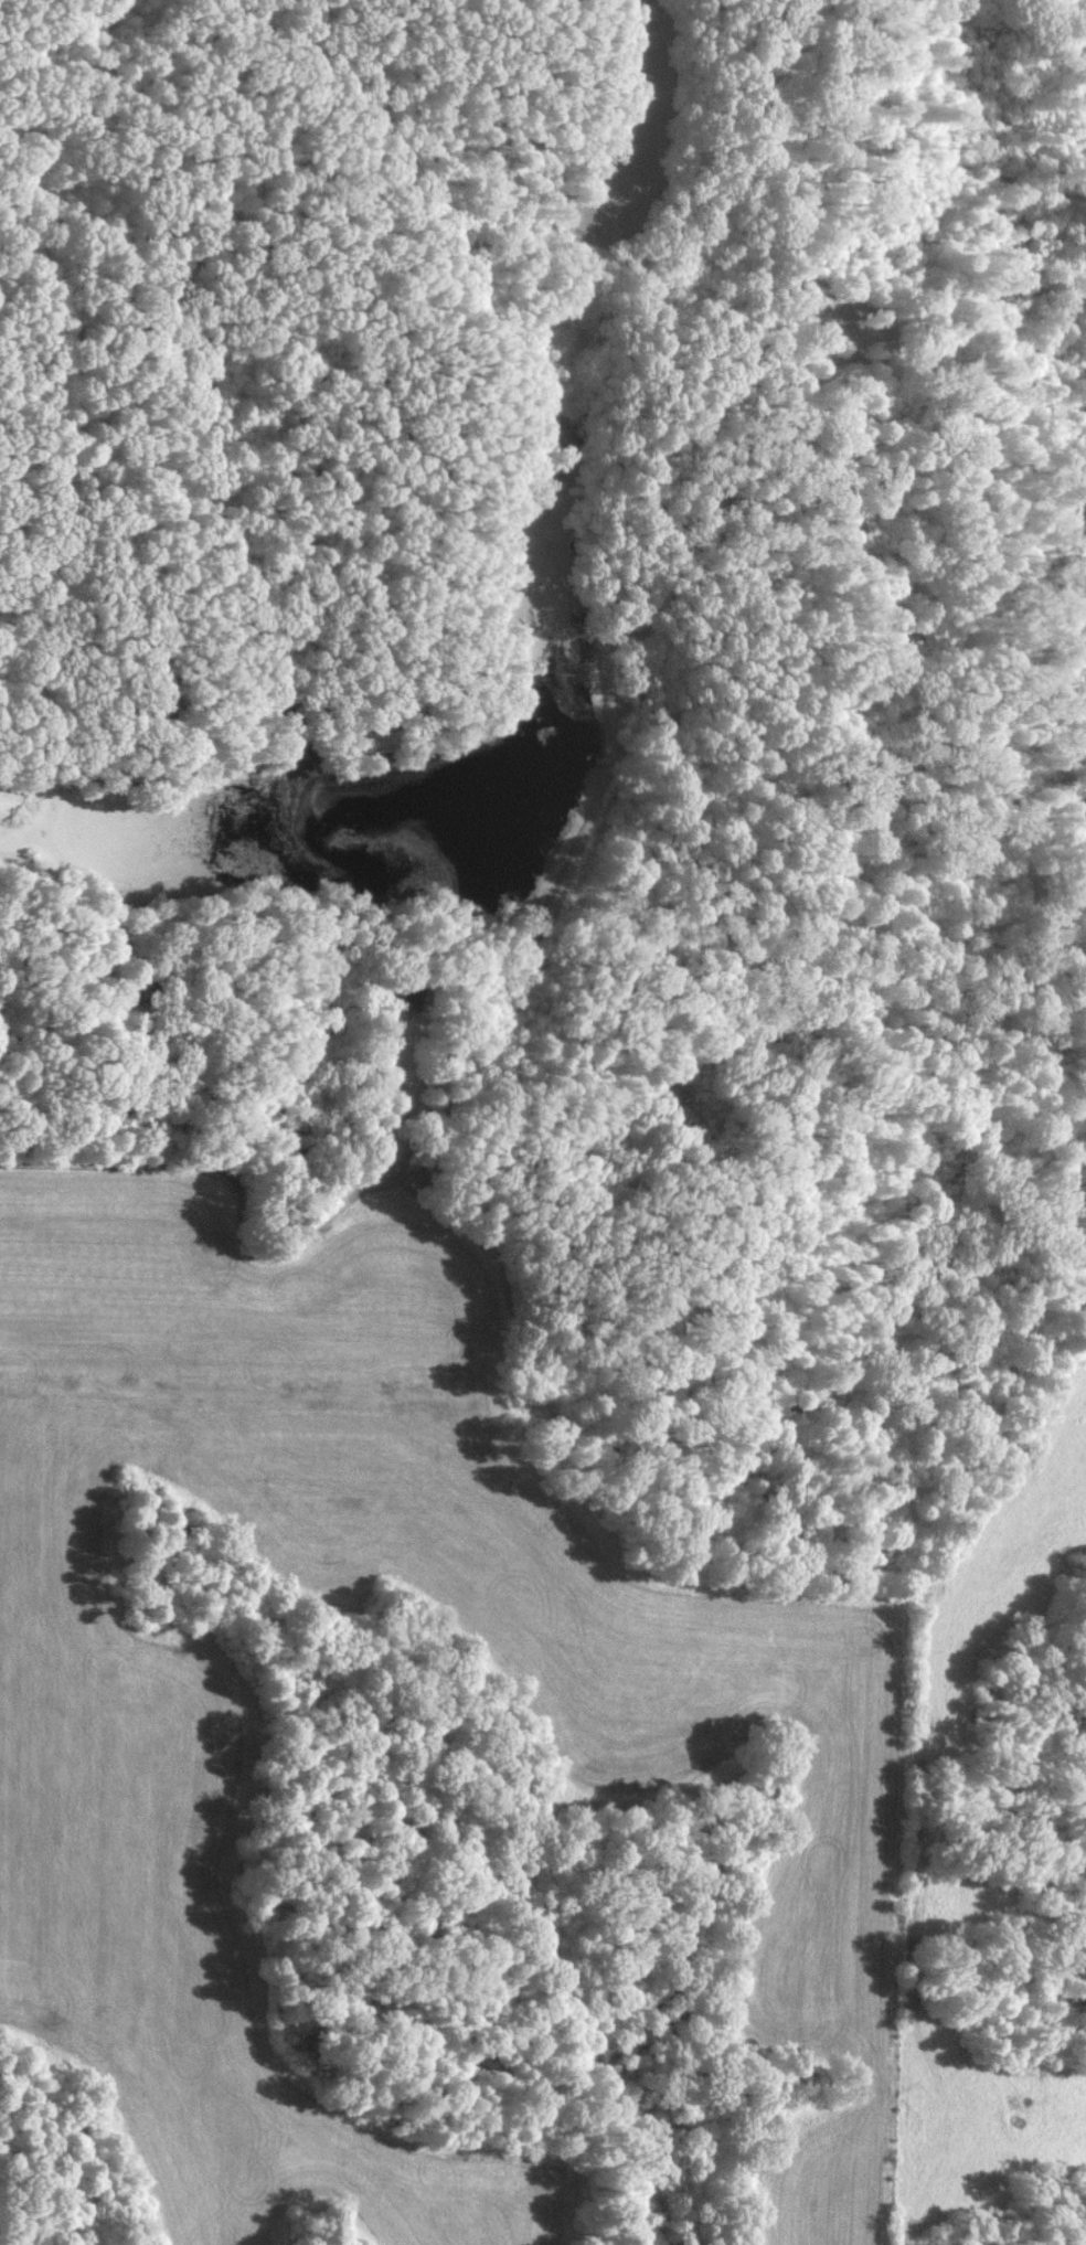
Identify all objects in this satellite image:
building: (413, 994)
road: (238, 1178)

